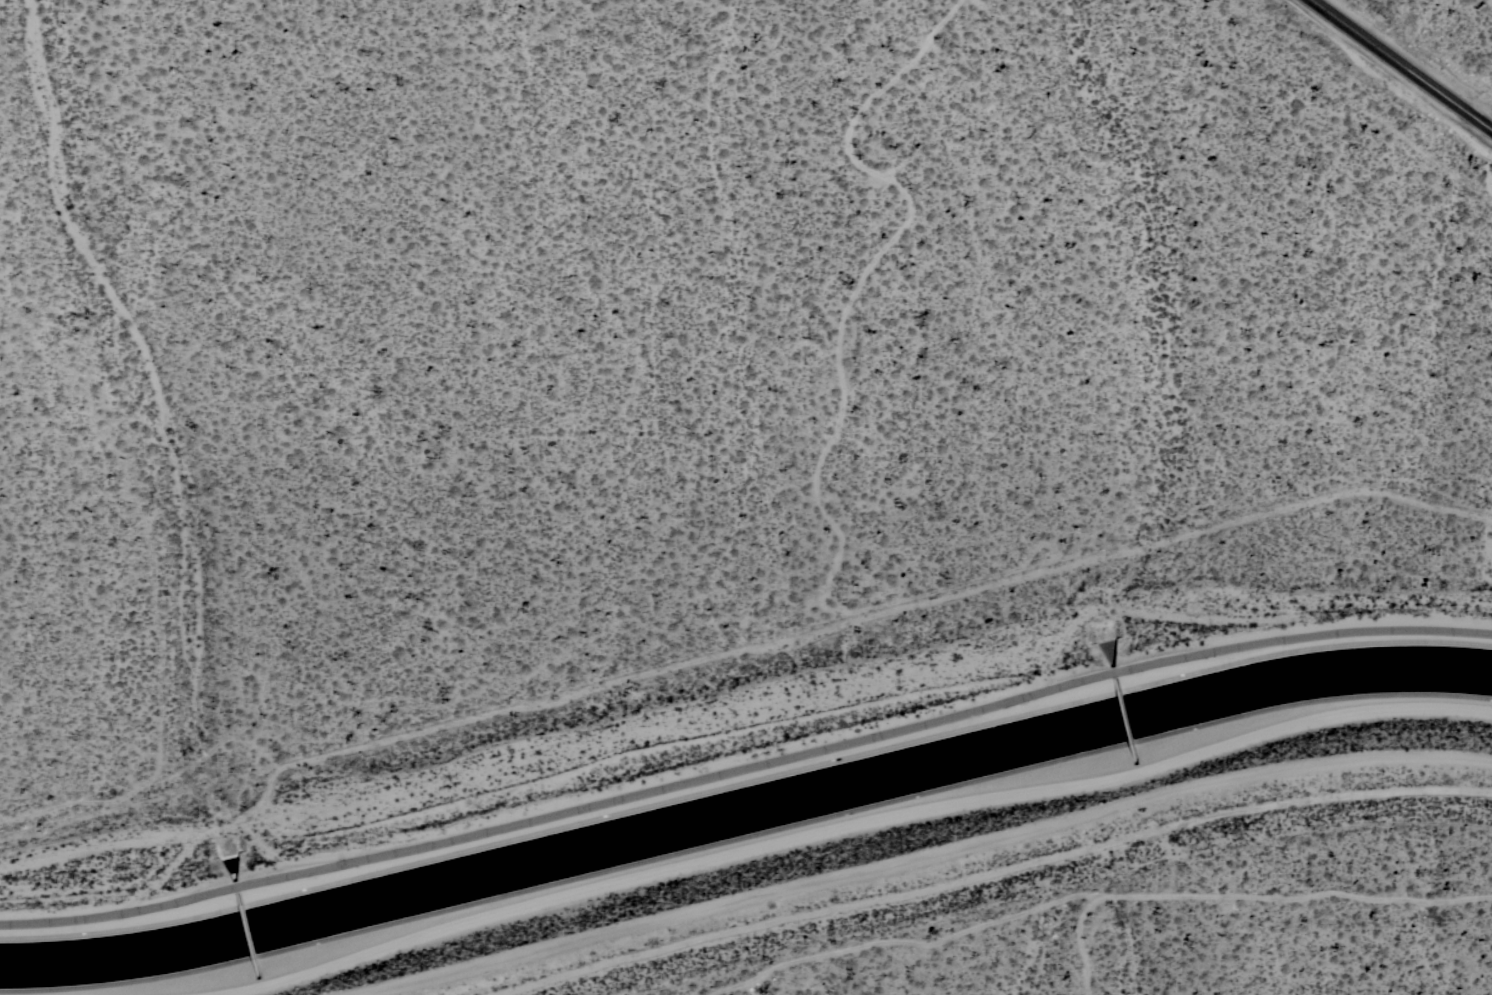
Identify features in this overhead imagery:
road: (1402, 63)
road: (1088, 888)

